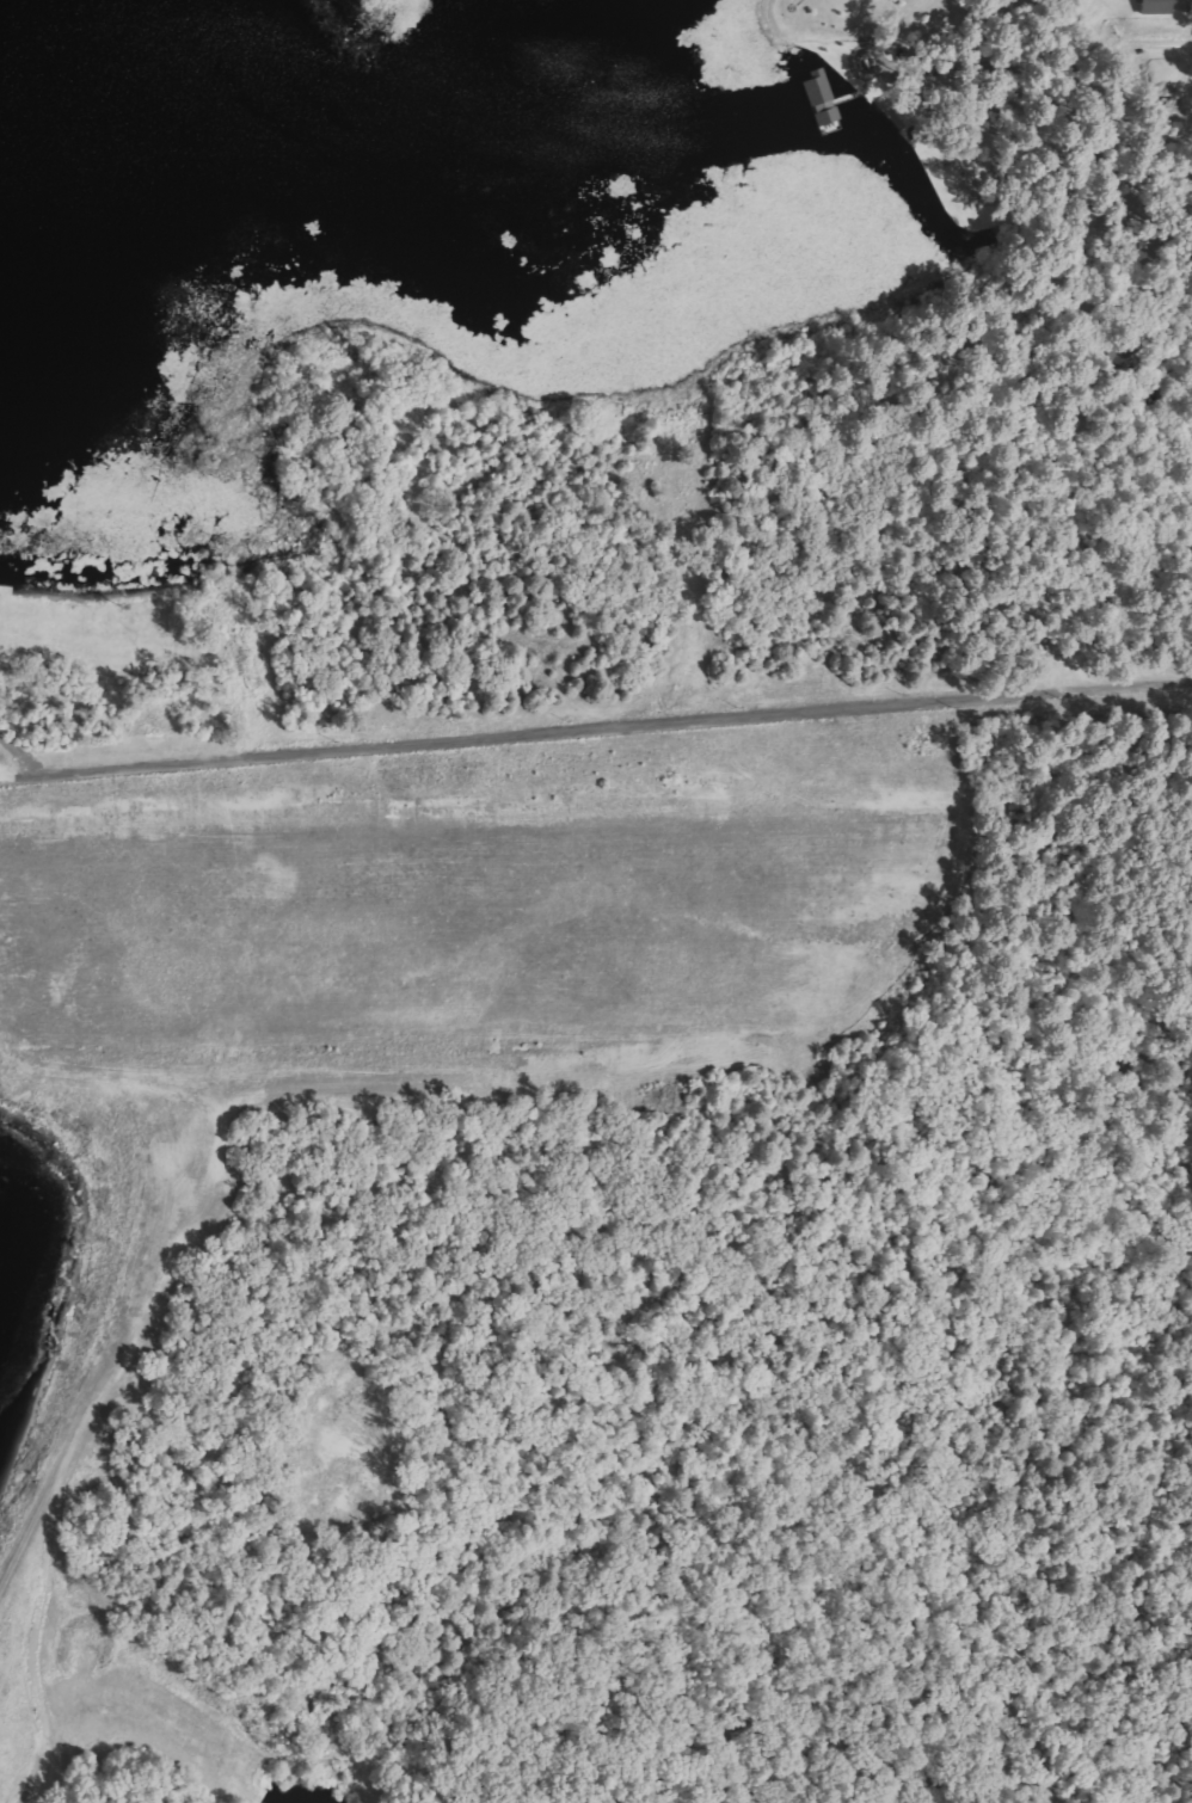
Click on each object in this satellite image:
building: (1150, 7)
road: (1085, 690)
dam: (112, 1396)

